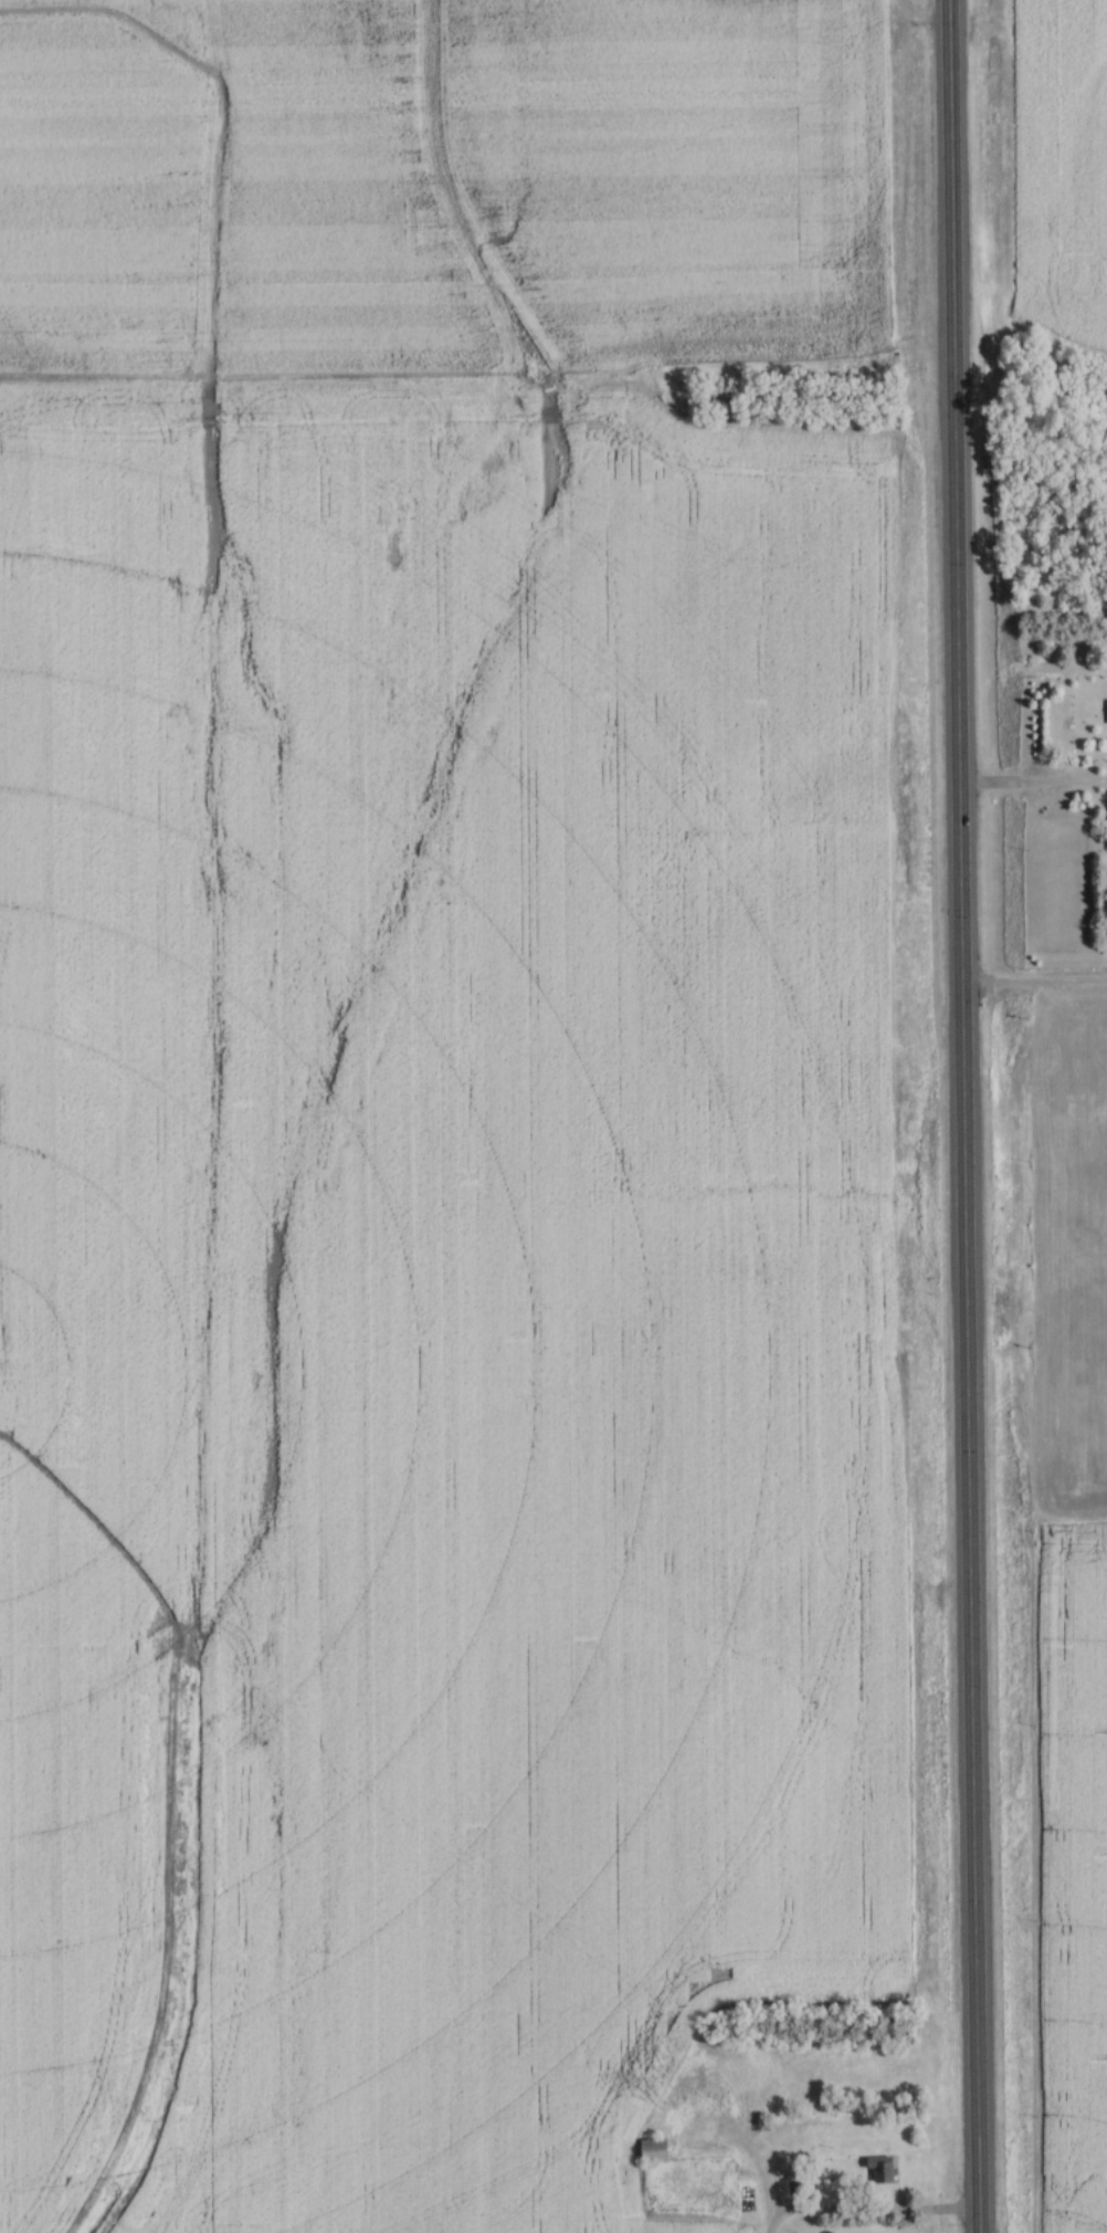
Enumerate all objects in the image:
road: (1032, 783)
road: (961, 1116)
building: (650, 2150)
building: (878, 2169)
road: (872, 2214)

